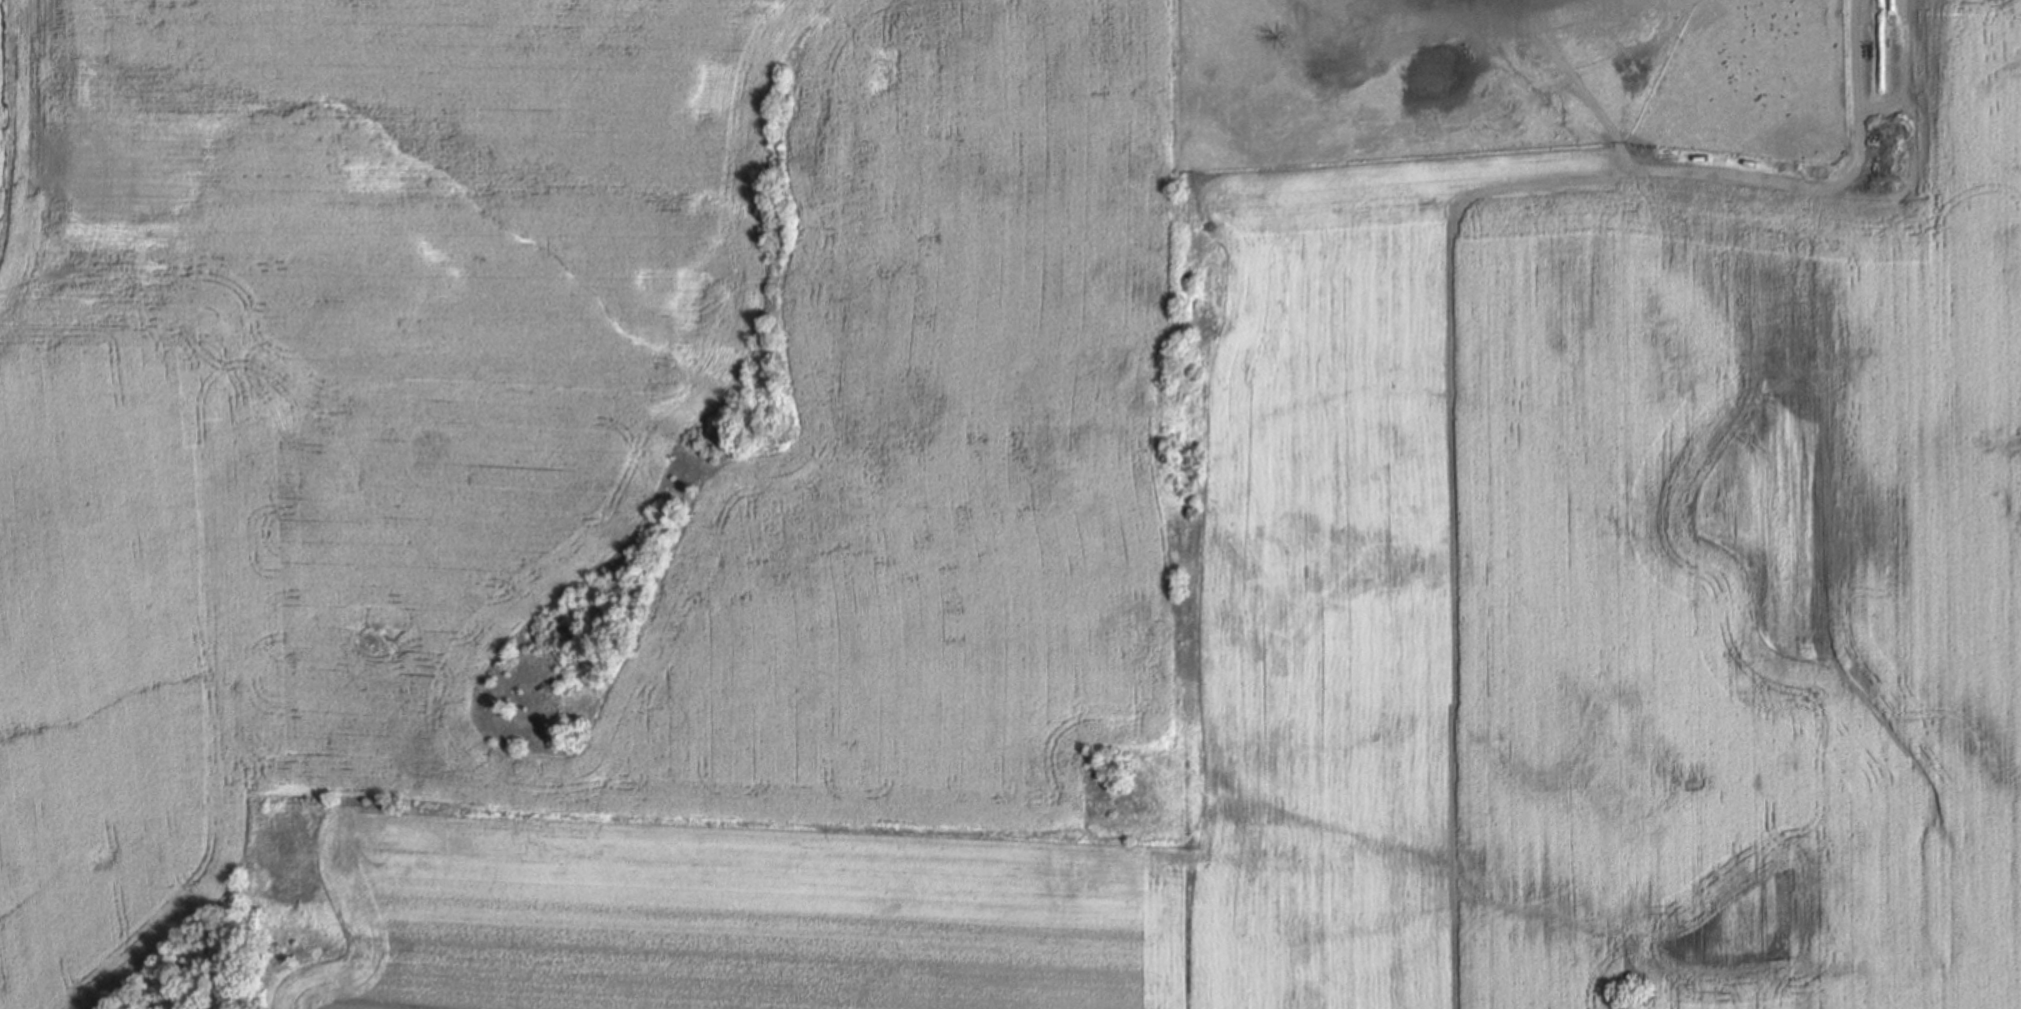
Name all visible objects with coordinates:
crop: (1973, 499)

